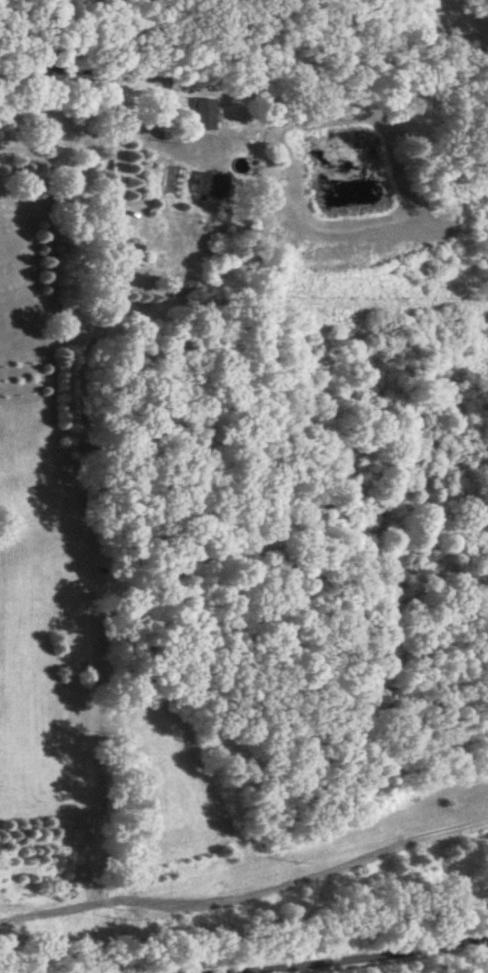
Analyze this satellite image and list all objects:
road: (57, 76)
building: (177, 84)
building: (202, 115)
road: (117, 142)
building: (212, 185)
building: (130, 257)
road: (416, 958)

